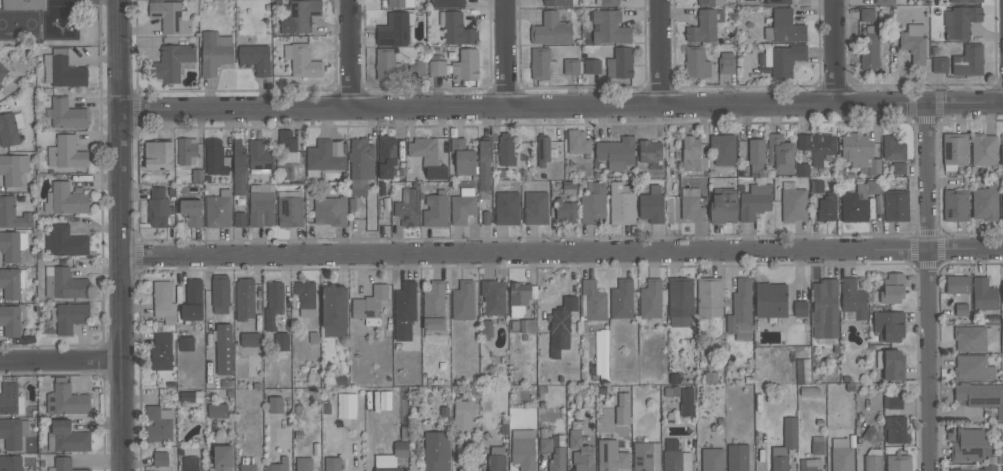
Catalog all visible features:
building: (883, 1)
building: (966, 1)
building: (556, 2)
building: (608, 2)
building: (710, 2)
building: (776, 2)
building: (400, 3)
building: (448, 3)
building: (23, 4)
building: (867, 14)
building: (300, 15)
building: (170, 16)
building: (960, 21)
building: (704, 26)
building: (610, 27)
building: (784, 27)
building: (395, 28)
building: (551, 29)
building: (457, 30)
building: (913, 43)
building: (870, 49)
building: (214, 51)
road: (831, 52)
road: (658, 53)
road: (504, 54)
road: (348, 55)
building: (256, 58)
building: (784, 58)
building: (968, 60)
building: (302, 61)
building: (172, 62)
building: (619, 63)
building: (696, 63)
building: (726, 63)
building: (385, 64)
building: (542, 64)
building: (940, 64)
building: (466, 65)
building: (571, 66)
building: (592, 66)
building: (416, 68)
building: (437, 68)
building: (62, 69)
building: (2, 70)
building: (0, 86)
road: (563, 108)
building: (67, 113)
building: (10, 127)
building: (577, 141)
building: (287, 145)
building: (817, 146)
building: (506, 149)
building: (723, 149)
building: (893, 149)
building: (984, 149)
building: (424, 150)
building: (543, 150)
building: (649, 150)
building: (954, 150)
building: (187, 151)
building: (857, 151)
building: (66, 152)
building: (616, 152)
building: (692, 154)
building: (780, 154)
building: (158, 155)
building: (386, 156)
building: (1002, 156)
building: (259, 157)
building: (463, 157)
building: (756, 157)
building: (216, 158)
building: (322, 158)
building: (484, 164)
building: (361, 165)
building: (239, 167)
building: (875, 167)
building: (898, 167)
building: (13, 168)
building: (802, 169)
building: (436, 172)
building: (197, 175)
building: (816, 186)
building: (872, 187)
building: (65, 199)
building: (755, 201)
building: (985, 202)
building: (622, 203)
building: (593, 204)
building: (794, 204)
building: (261, 205)
building: (652, 205)
building: (691, 205)
building: (895, 205)
building: (955, 205)
building: (463, 206)
building: (723, 206)
building: (1002, 206)
building: (158, 207)
building: (506, 207)
building: (535, 207)
building: (827, 207)
building: (853, 207)
building: (290, 208)
building: (408, 208)
building: (218, 209)
building: (435, 209)
building: (330, 211)
building: (565, 211)
building: (191, 212)
building: (12, 213)
building: (239, 219)
road: (124, 235)
building: (65, 241)
building: (12, 245)
road: (564, 252)
building: (12, 282)
building: (64, 283)
building: (957, 284)
road: (927, 286)
building: (891, 289)
building: (1002, 290)
building: (220, 293)
building: (984, 294)
building: (493, 296)
building: (709, 296)
building: (305, 297)
building: (853, 297)
building: (519, 298)
building: (651, 298)
building: (245, 299)
building: (622, 299)
building: (192, 300)
building: (463, 300)
building: (770, 300)
building: (591, 301)
building: (163, 302)
building: (679, 302)
building: (273, 304)
building: (370, 305)
building: (434, 306)
building: (800, 308)
building: (404, 309)
building: (825, 309)
building: (961, 310)
building: (334, 311)
building: (740, 311)
building: (69, 316)
building: (11, 320)
building: (888, 325)
building: (528, 326)
building: (560, 326)
building: (486, 329)
building: (972, 337)
building: (249, 339)
building: (1002, 339)
building: (281, 341)
building: (185, 343)
building: (224, 348)
building: (161, 352)
building: (601, 353)
road: (62, 361)
building: (891, 363)
building: (973, 368)
building: (803, 371)
building: (672, 391)
building: (190, 396)
building: (981, 396)
building: (11, 399)
building: (67, 400)
building: (686, 401)
building: (892, 401)
building: (385, 402)
building: (275, 404)
building: (622, 409)
building: (218, 410)
building: (463, 415)
road: (103, 422)
building: (158, 423)
building: (896, 429)
building: (13, 432)
building: (790, 432)
building: (871, 435)
building: (67, 437)
building: (545, 444)
building: (970, 445)
building: (817, 447)
building: (401, 449)
building: (523, 449)
building: (436, 451)
building: (580, 452)
building: (841, 455)
building: (611, 456)
building: (647, 456)
building: (675, 457)
building: (737, 457)
building: (160, 458)
building: (496, 459)
building: (779, 459)
building: (557, 460)
building: (712, 460)
building: (873, 460)
building: (11, 463)
building: (190, 463)
building: (385, 463)
building: (899, 463)
building: (304, 464)
building: (333, 464)
building: (810, 464)
building: (65, 465)
building: (278, 465)
building: (247, 467)
building: (989, 467)

